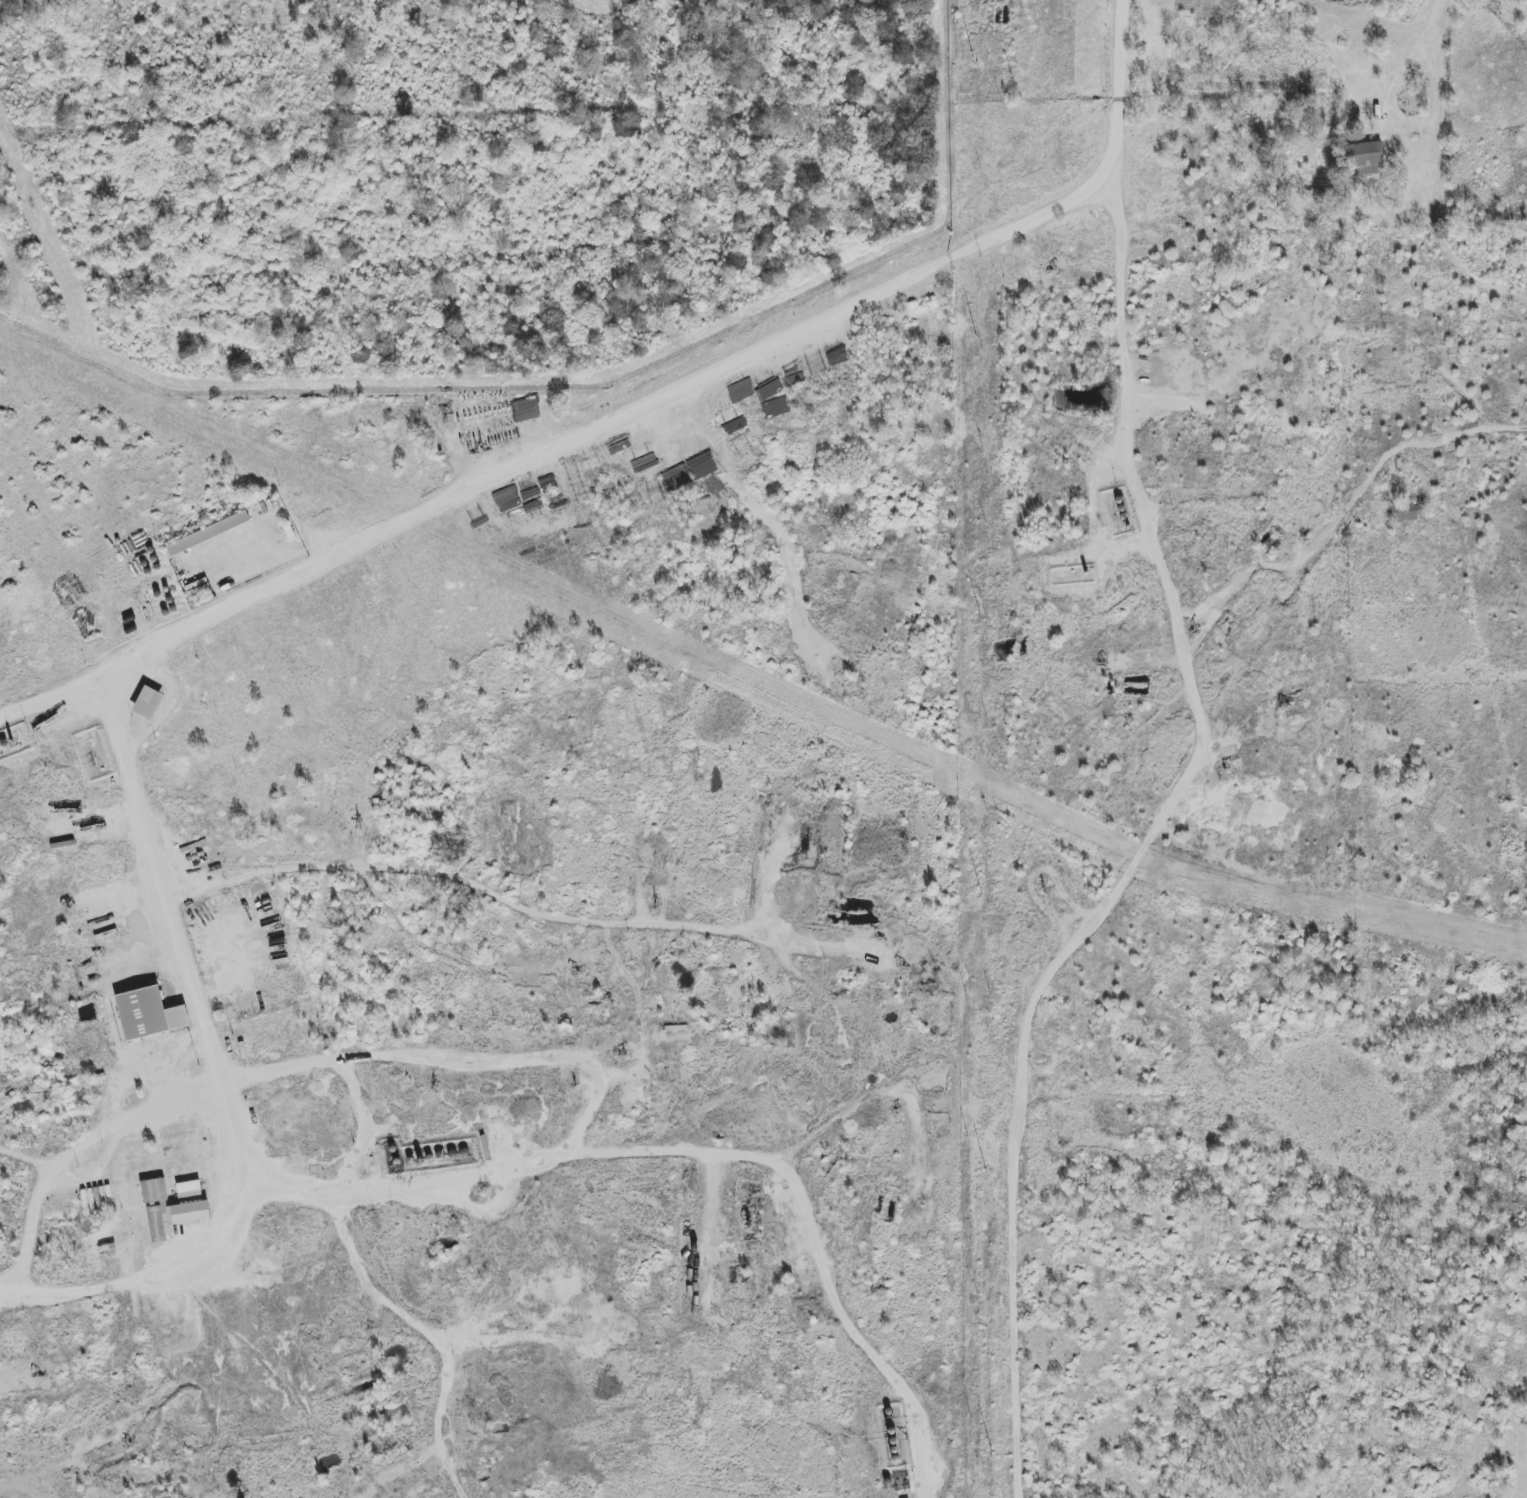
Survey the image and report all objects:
road: (1432, 19)
road: (1124, 88)
road: (1409, 136)
building: (1364, 159)
road: (1123, 314)
road: (1483, 435)
road: (562, 445)
building: (1406, 511)
building: (208, 533)
building: (148, 703)
road: (414, 859)
building: (148, 1014)
road: (453, 1060)
road: (217, 1061)
road: (71, 1153)
road: (351, 1186)
building: (189, 1189)
building: (153, 1191)
building: (174, 1217)
road: (810, 1229)
road: (439, 1327)

